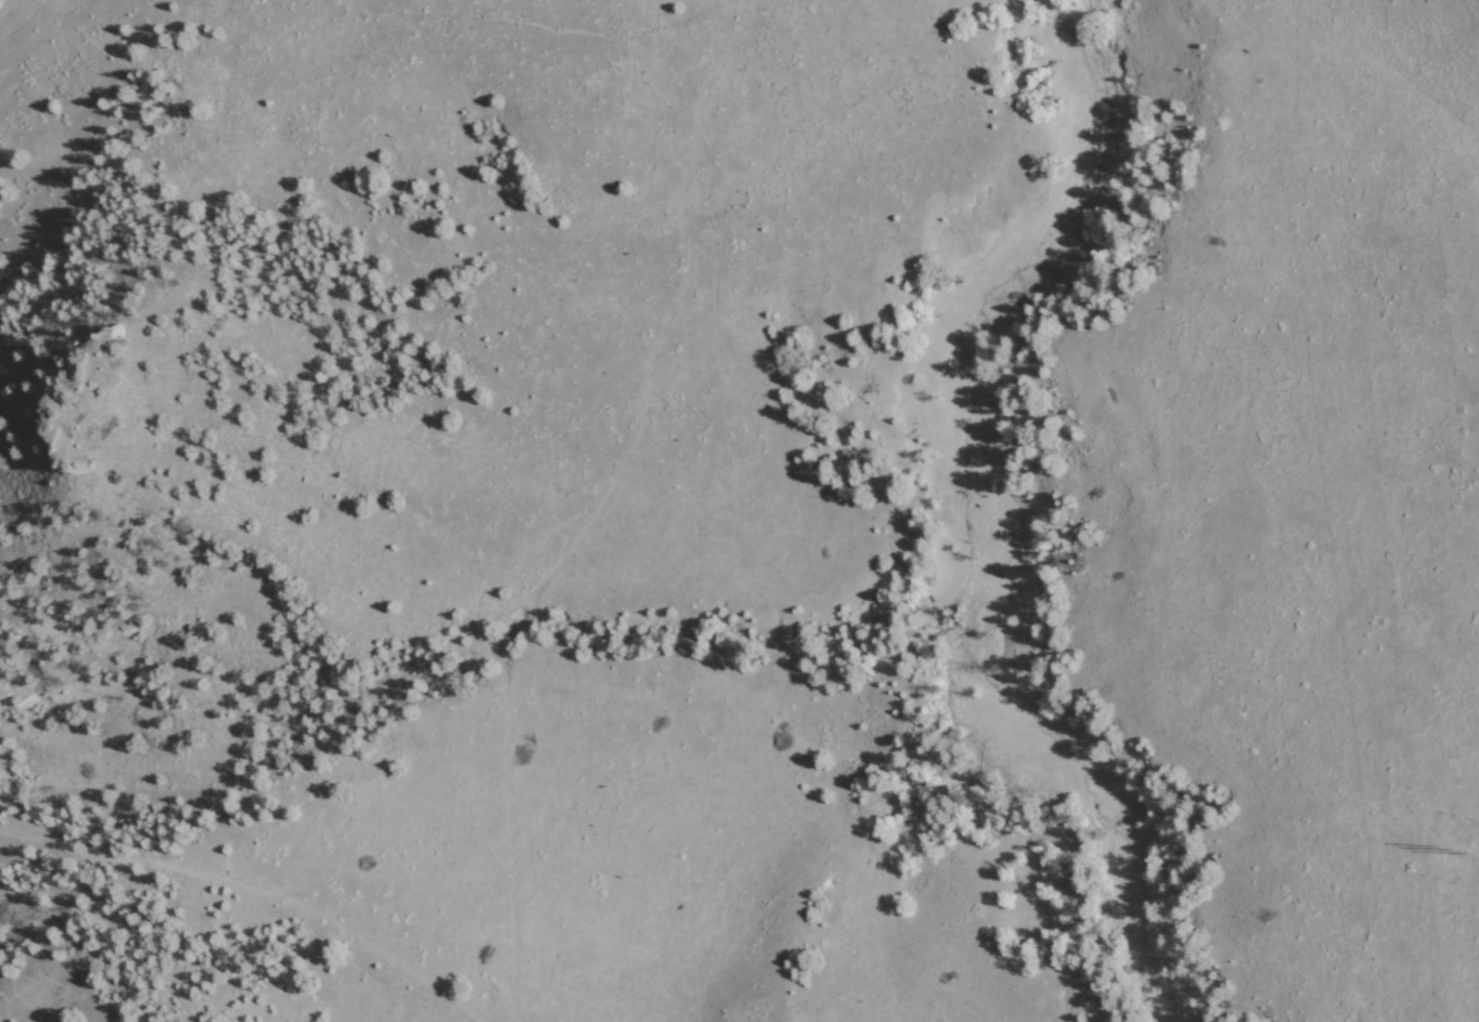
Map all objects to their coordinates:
power tower: (1454, 851)

